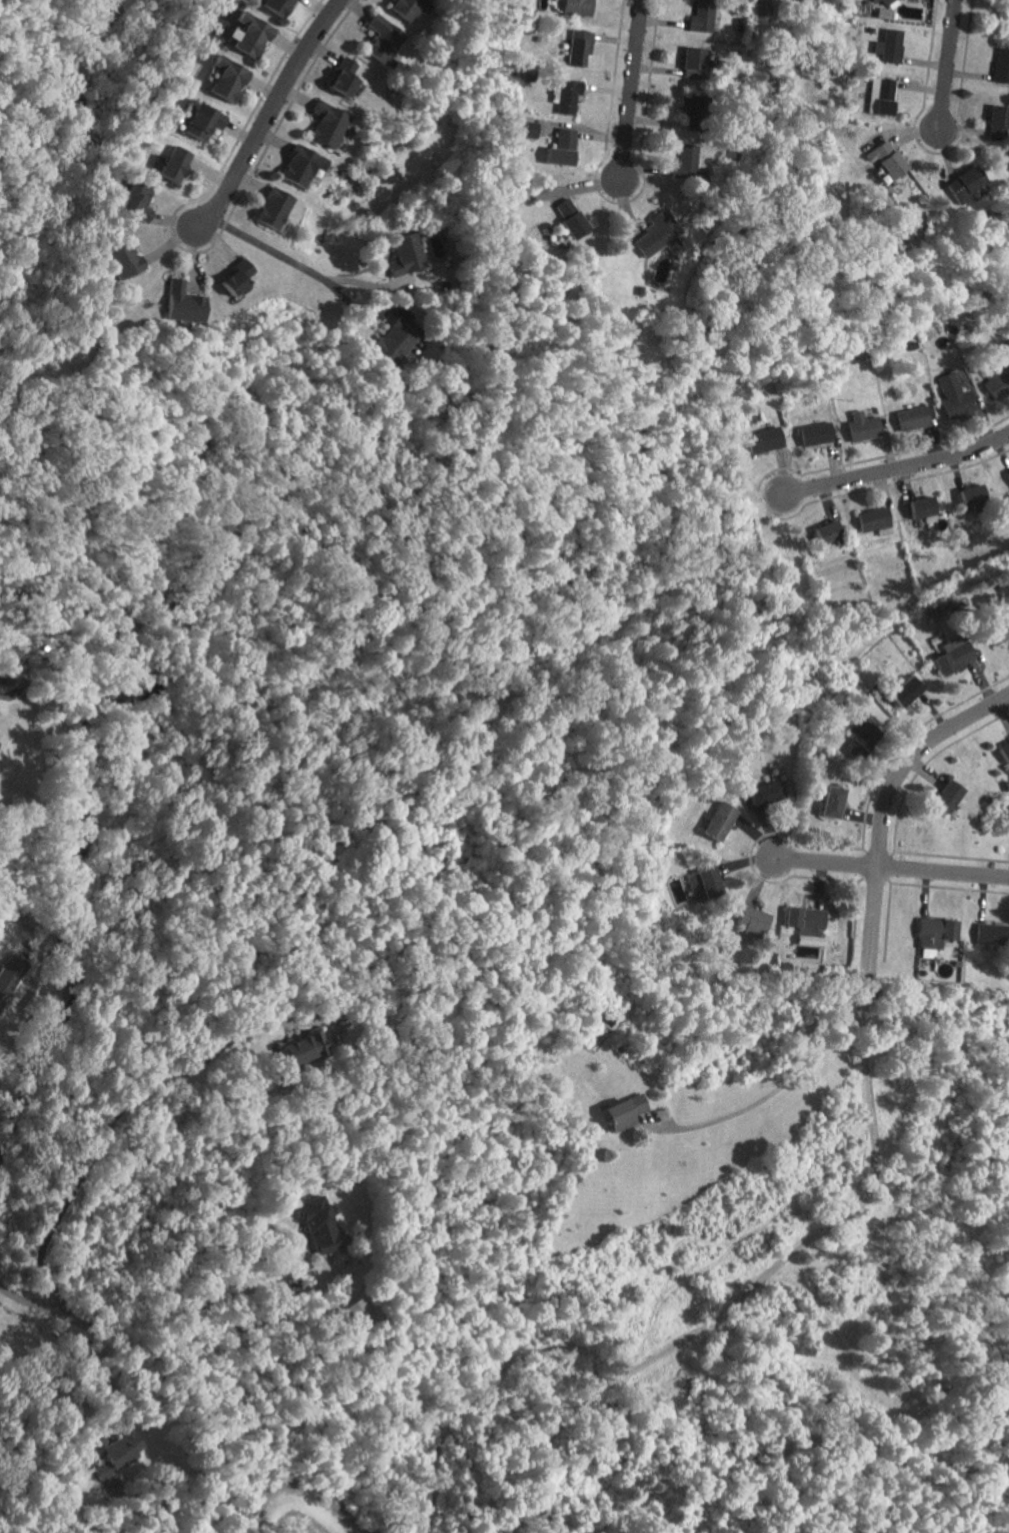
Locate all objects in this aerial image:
building: (1007, 1)
building: (277, 6)
building: (408, 7)
building: (884, 8)
building: (760, 10)
building: (702, 16)
building: (249, 33)
building: (383, 39)
building: (891, 45)
building: (578, 47)
building: (694, 62)
road: (946, 64)
building: (1001, 64)
building: (346, 75)
building: (227, 78)
road: (629, 90)
building: (565, 94)
building: (883, 94)
building: (690, 103)
road: (267, 116)
building: (200, 120)
building: (999, 122)
building: (327, 123)
building: (562, 147)
road: (937, 152)
building: (887, 158)
building: (685, 161)
building: (175, 162)
building: (302, 165)
building: (137, 200)
road: (619, 201)
building: (274, 208)
building: (570, 217)
building: (657, 233)
road: (188, 250)
road: (271, 253)
building: (406, 254)
building: (124, 259)
building: (237, 276)
building: (183, 302)
building: (395, 341)
building: (998, 379)
building: (955, 396)
building: (913, 418)
building: (863, 425)
building: (816, 433)
building: (764, 439)
road: (881, 456)
road: (895, 470)
road: (885, 485)
building: (973, 494)
building: (923, 506)
building: (874, 518)
building: (829, 531)
building: (998, 632)
building: (954, 653)
building: (907, 690)
road: (905, 737)
building: (860, 738)
building: (1005, 750)
road: (923, 763)
building: (768, 790)
building: (948, 796)
building: (833, 802)
road: (880, 816)
building: (720, 821)
road: (750, 850)
road: (951, 855)
road: (823, 863)
road: (942, 873)
building: (704, 883)
road: (947, 887)
road: (854, 916)
building: (805, 917)
building: (752, 920)
road: (886, 921)
building: (991, 933)
building: (926, 950)
road: (11, 1028)
building: (302, 1048)
road: (780, 1083)
building: (625, 1112)
road: (111, 1120)
building: (318, 1225)
road: (745, 1288)
road: (216, 1295)
building: (359, 1311)
road: (48, 1313)
road: (109, 1399)
building: (119, 1453)

